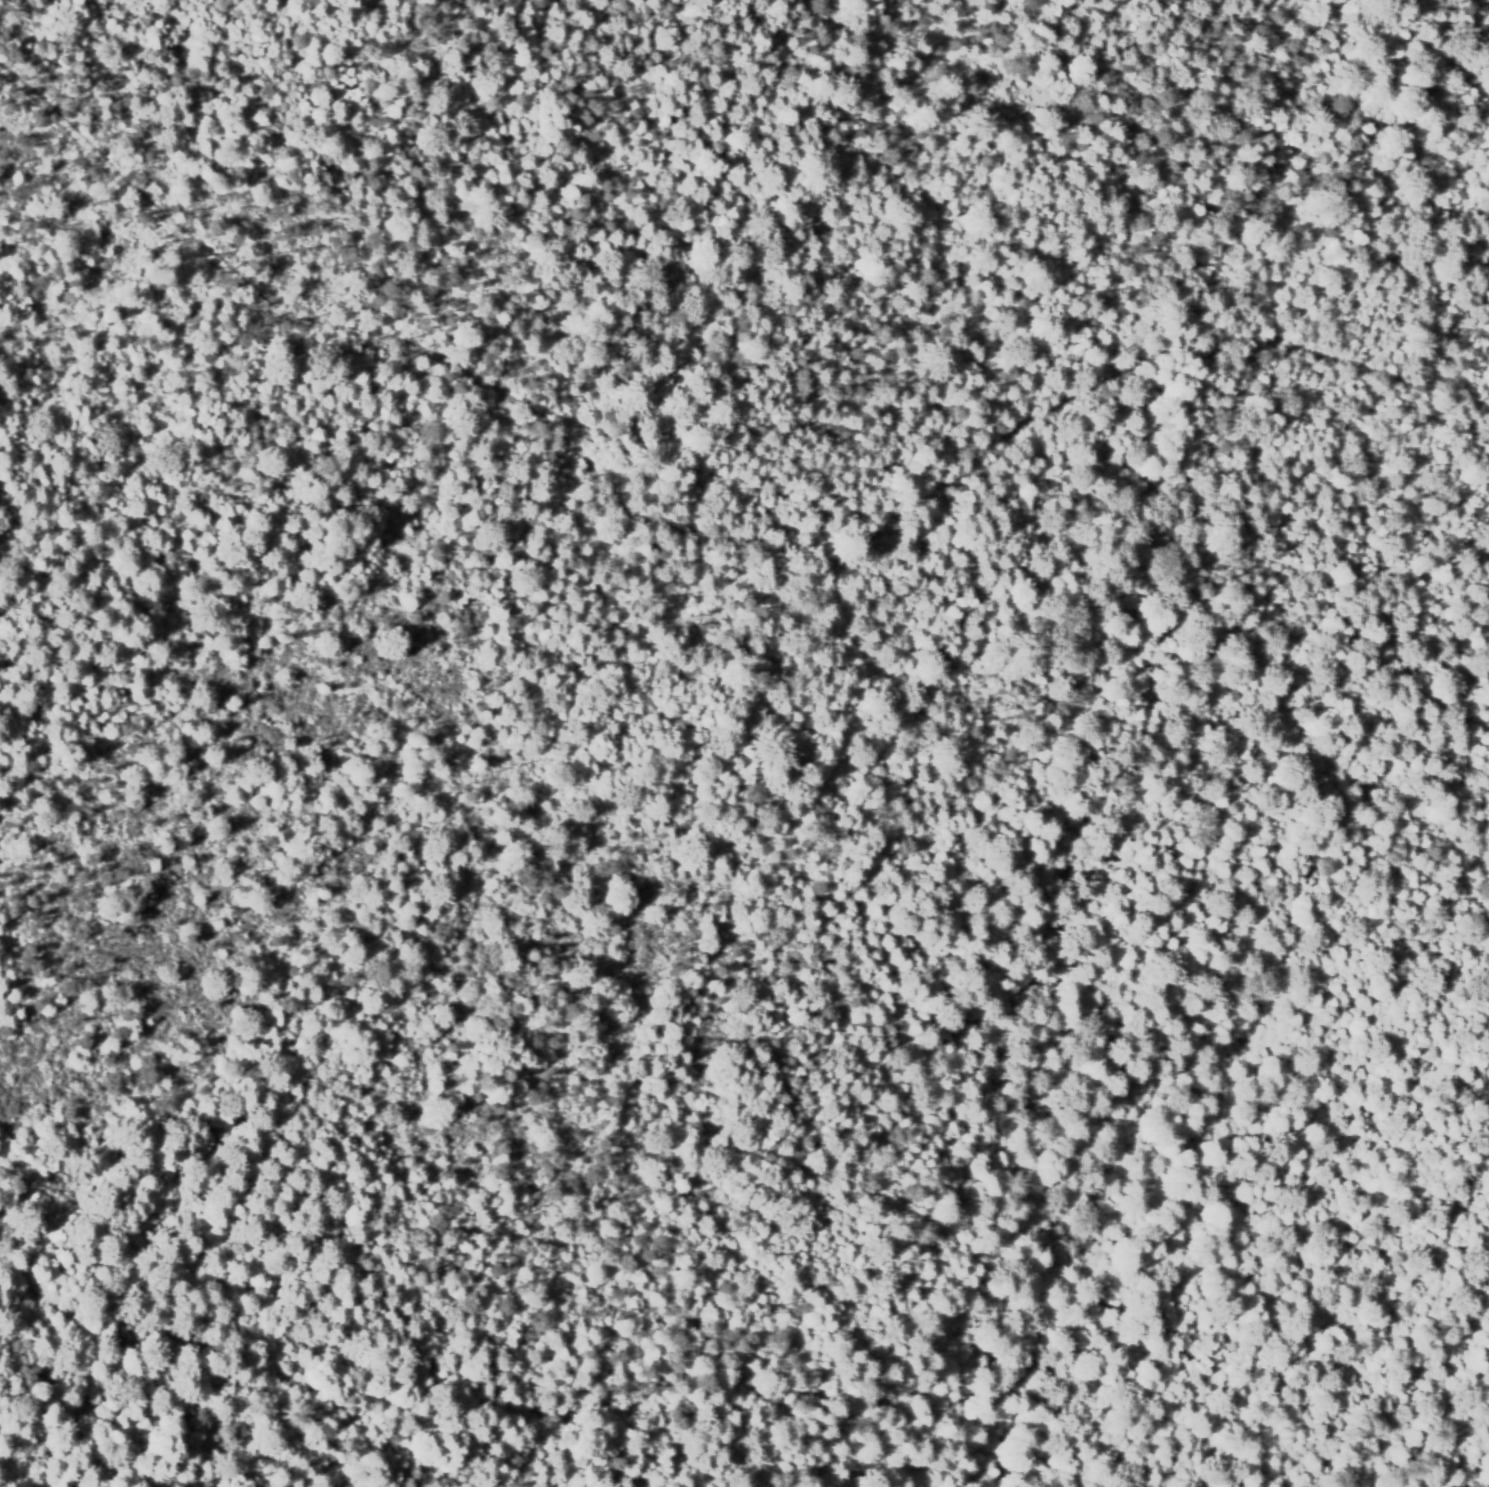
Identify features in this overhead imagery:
road: (1471, 17)
road: (702, 529)

